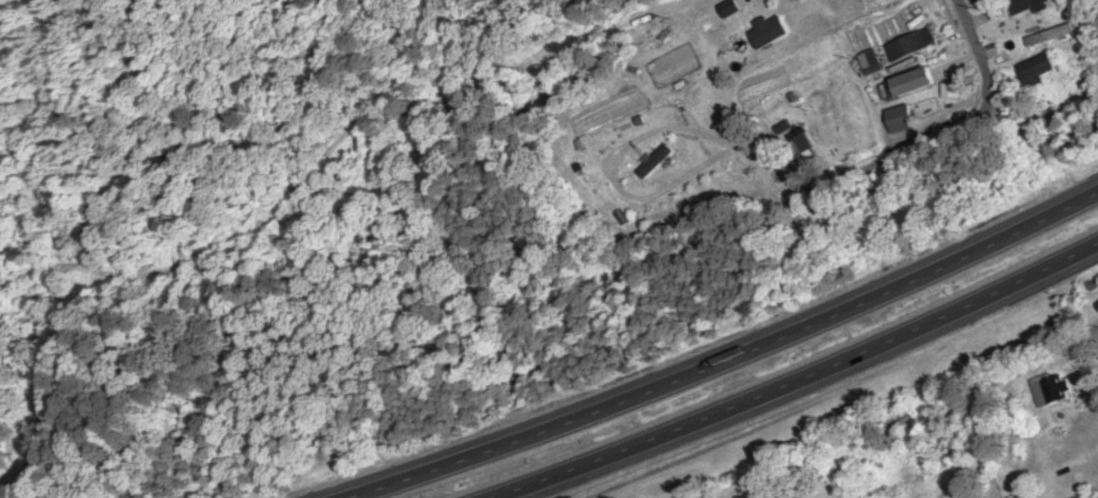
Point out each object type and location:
building: (866, 0)
building: (1027, 4)
building: (743, 5)
building: (875, 26)
building: (912, 43)
building: (869, 58)
building: (1038, 68)
building: (912, 81)
building: (902, 117)
building: (1041, 119)
road: (953, 134)
road: (333, 146)
building: (657, 160)
road: (1095, 331)
road: (726, 358)
road: (802, 380)
building: (1051, 387)
building: (765, 497)

